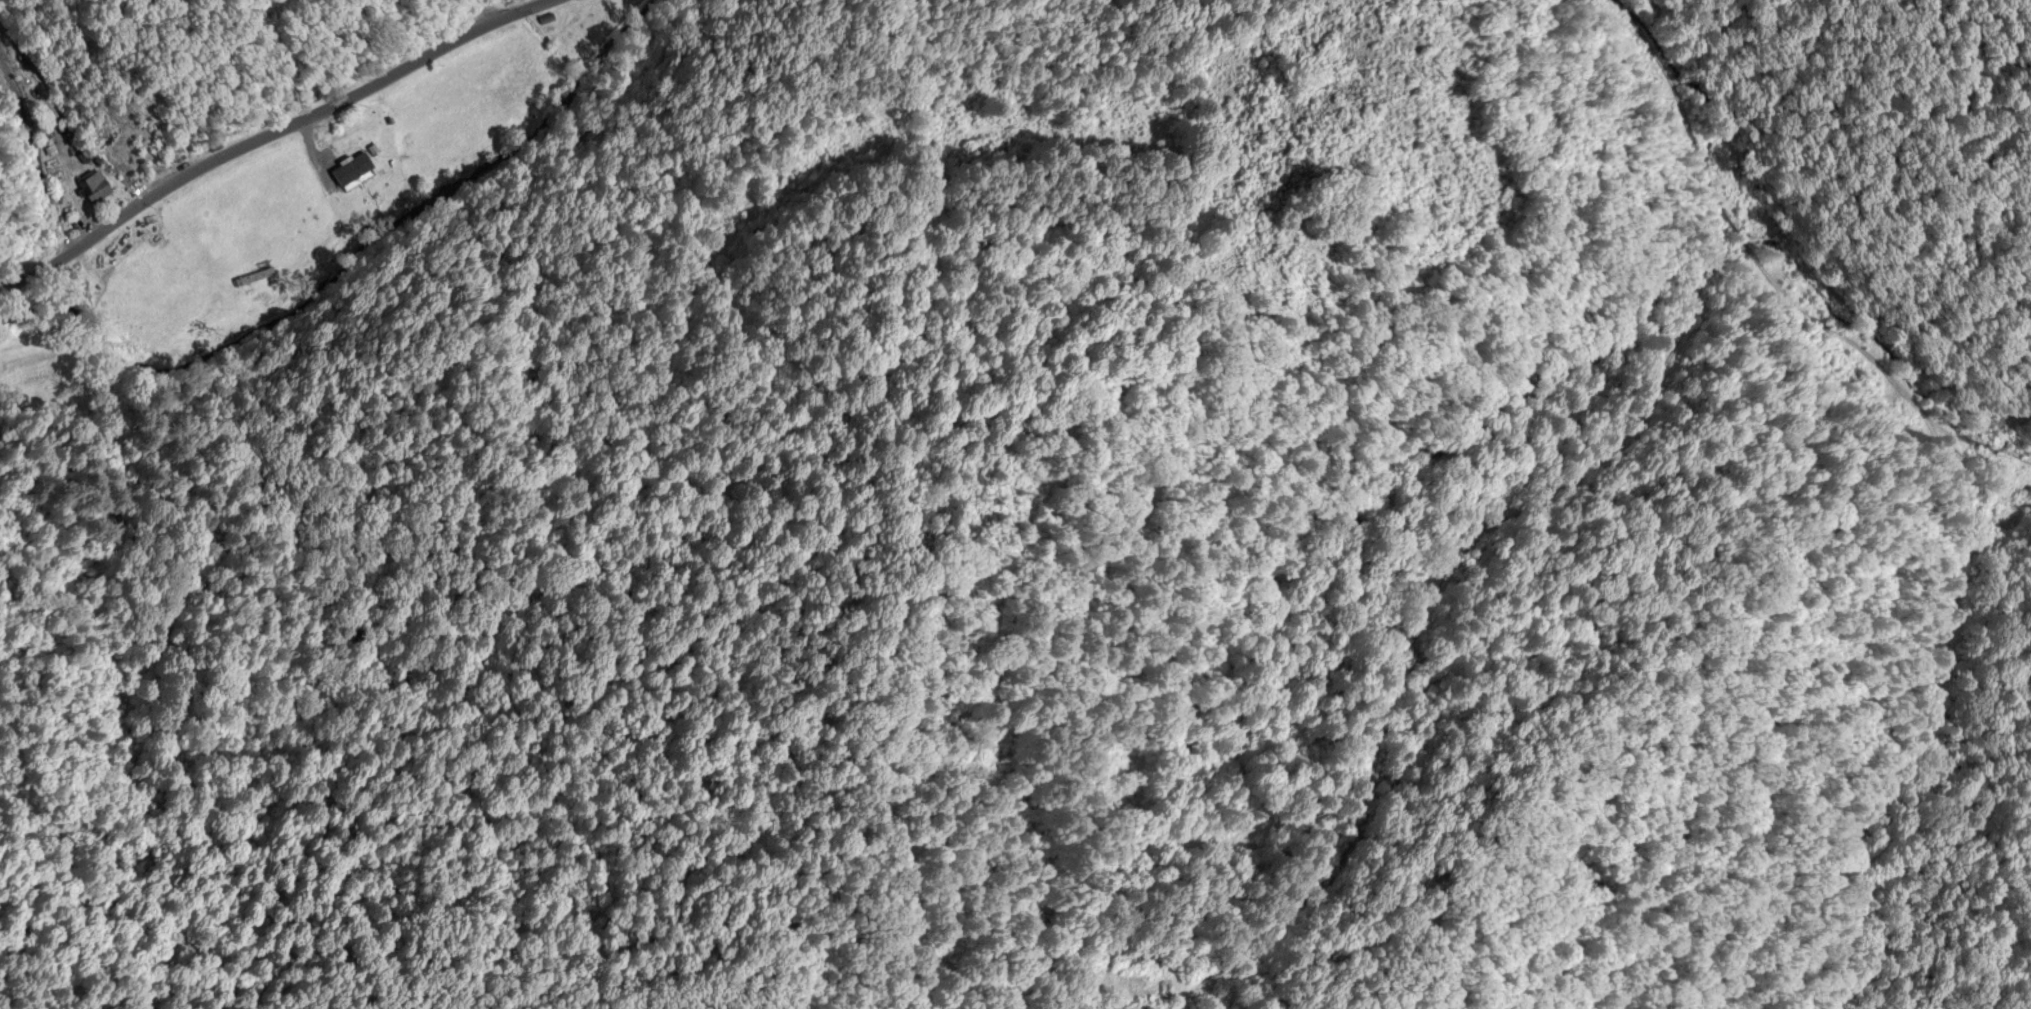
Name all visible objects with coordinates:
road: (263, 135)
building: (95, 185)
road: (1747, 307)

